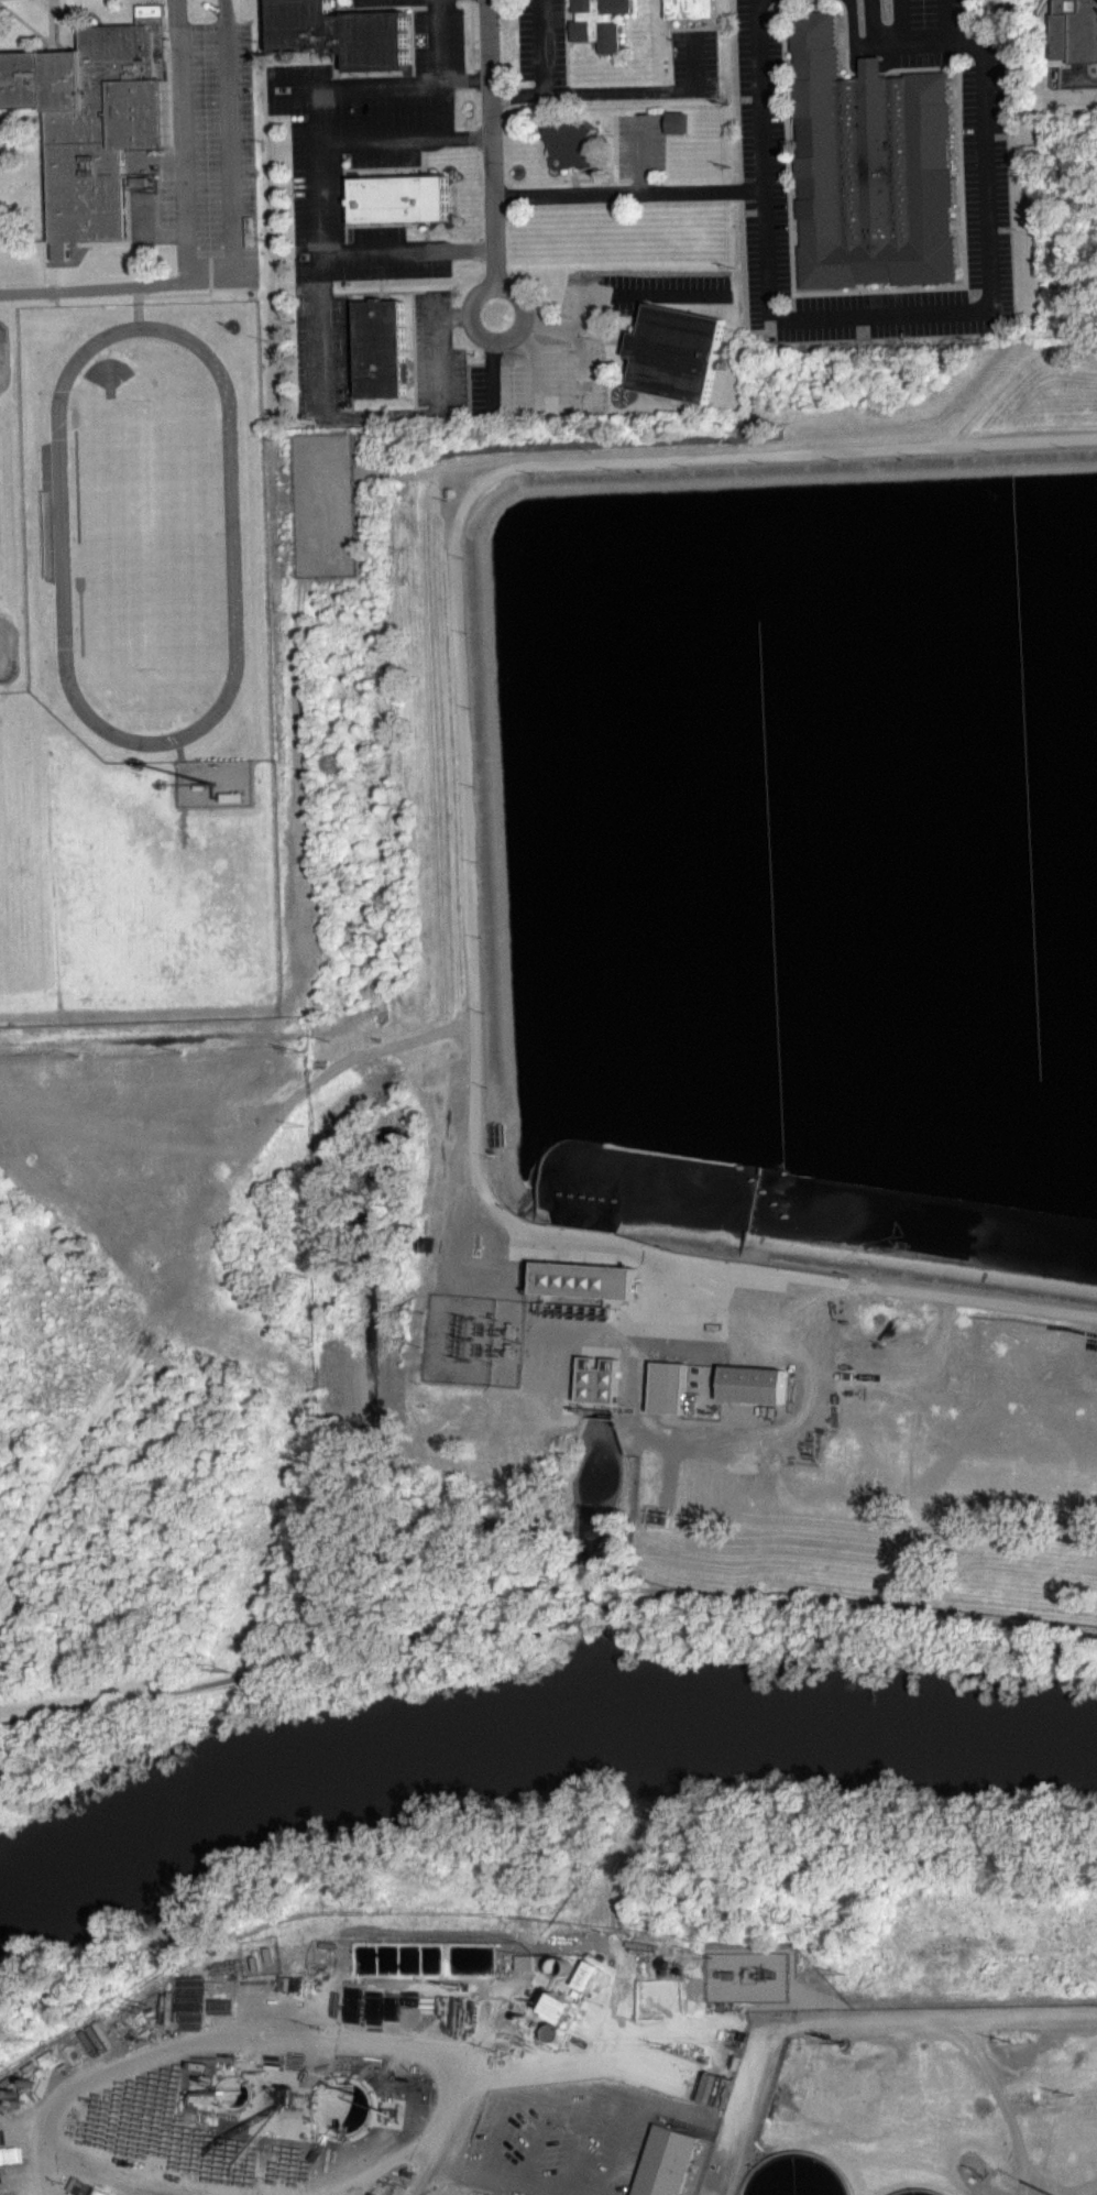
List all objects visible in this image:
road: (395, 7)
road: (339, 8)
building: (691, 8)
road: (50, 21)
building: (600, 22)
road: (28, 25)
building: (1075, 30)
parking lot: (928, 32)
building: (342, 33)
parking lot: (436, 34)
road: (440, 36)
parking lot: (542, 42)
road: (544, 46)
road: (413, 56)
parking lot: (694, 63)
road: (464, 77)
road: (354, 80)
road: (1083, 83)
road: (622, 90)
building: (94, 120)
building: (678, 121)
road: (13, 124)
road: (604, 133)
road: (229, 138)
road: (374, 138)
road: (180, 139)
parking lot: (215, 142)
road: (493, 142)
building: (574, 142)
road: (616, 145)
parking lot: (643, 145)
road: (643, 153)
building: (871, 167)
road: (596, 173)
road: (572, 176)
parking lot: (766, 177)
road: (601, 179)
road: (629, 192)
building: (402, 198)
road: (41, 217)
parking lot: (350, 233)
road: (350, 254)
road: (117, 283)
road: (641, 291)
road: (932, 308)
road: (523, 310)
road: (440, 314)
road: (525, 332)
road: (322, 336)
road: (582, 341)
road: (493, 345)
parking lot: (545, 347)
building: (383, 349)
building: (678, 352)
park: (3, 357)
road: (435, 365)
road: (535, 375)
road: (493, 383)
building: (309, 449)
road: (427, 474)
power substation: (325, 504)
park: (151, 534)
track: (147, 536)
park: (6, 641)
building: (200, 786)
building: (233, 797)
road: (470, 840)
building: (586, 1279)
wastewater plant: (670, 1325)
power substation: (476, 1341)
building: (600, 1379)
building: (755, 1384)
building: (670, 1387)
building: (657, 1522)
road: (595, 1587)
road: (863, 1608)
road: (285, 1667)
river: (530, 1700)
building: (563, 2018)
road: (874, 2028)
road: (217, 2039)
road: (465, 2079)
building: (670, 2166)
road: (385, 2171)
road: (89, 2181)

